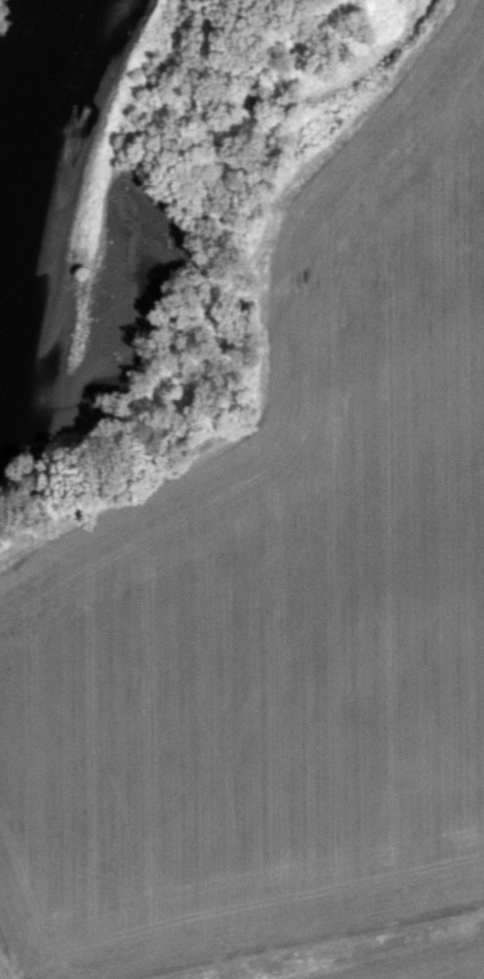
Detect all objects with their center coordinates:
river: (33, 207)
crop: (276, 574)

